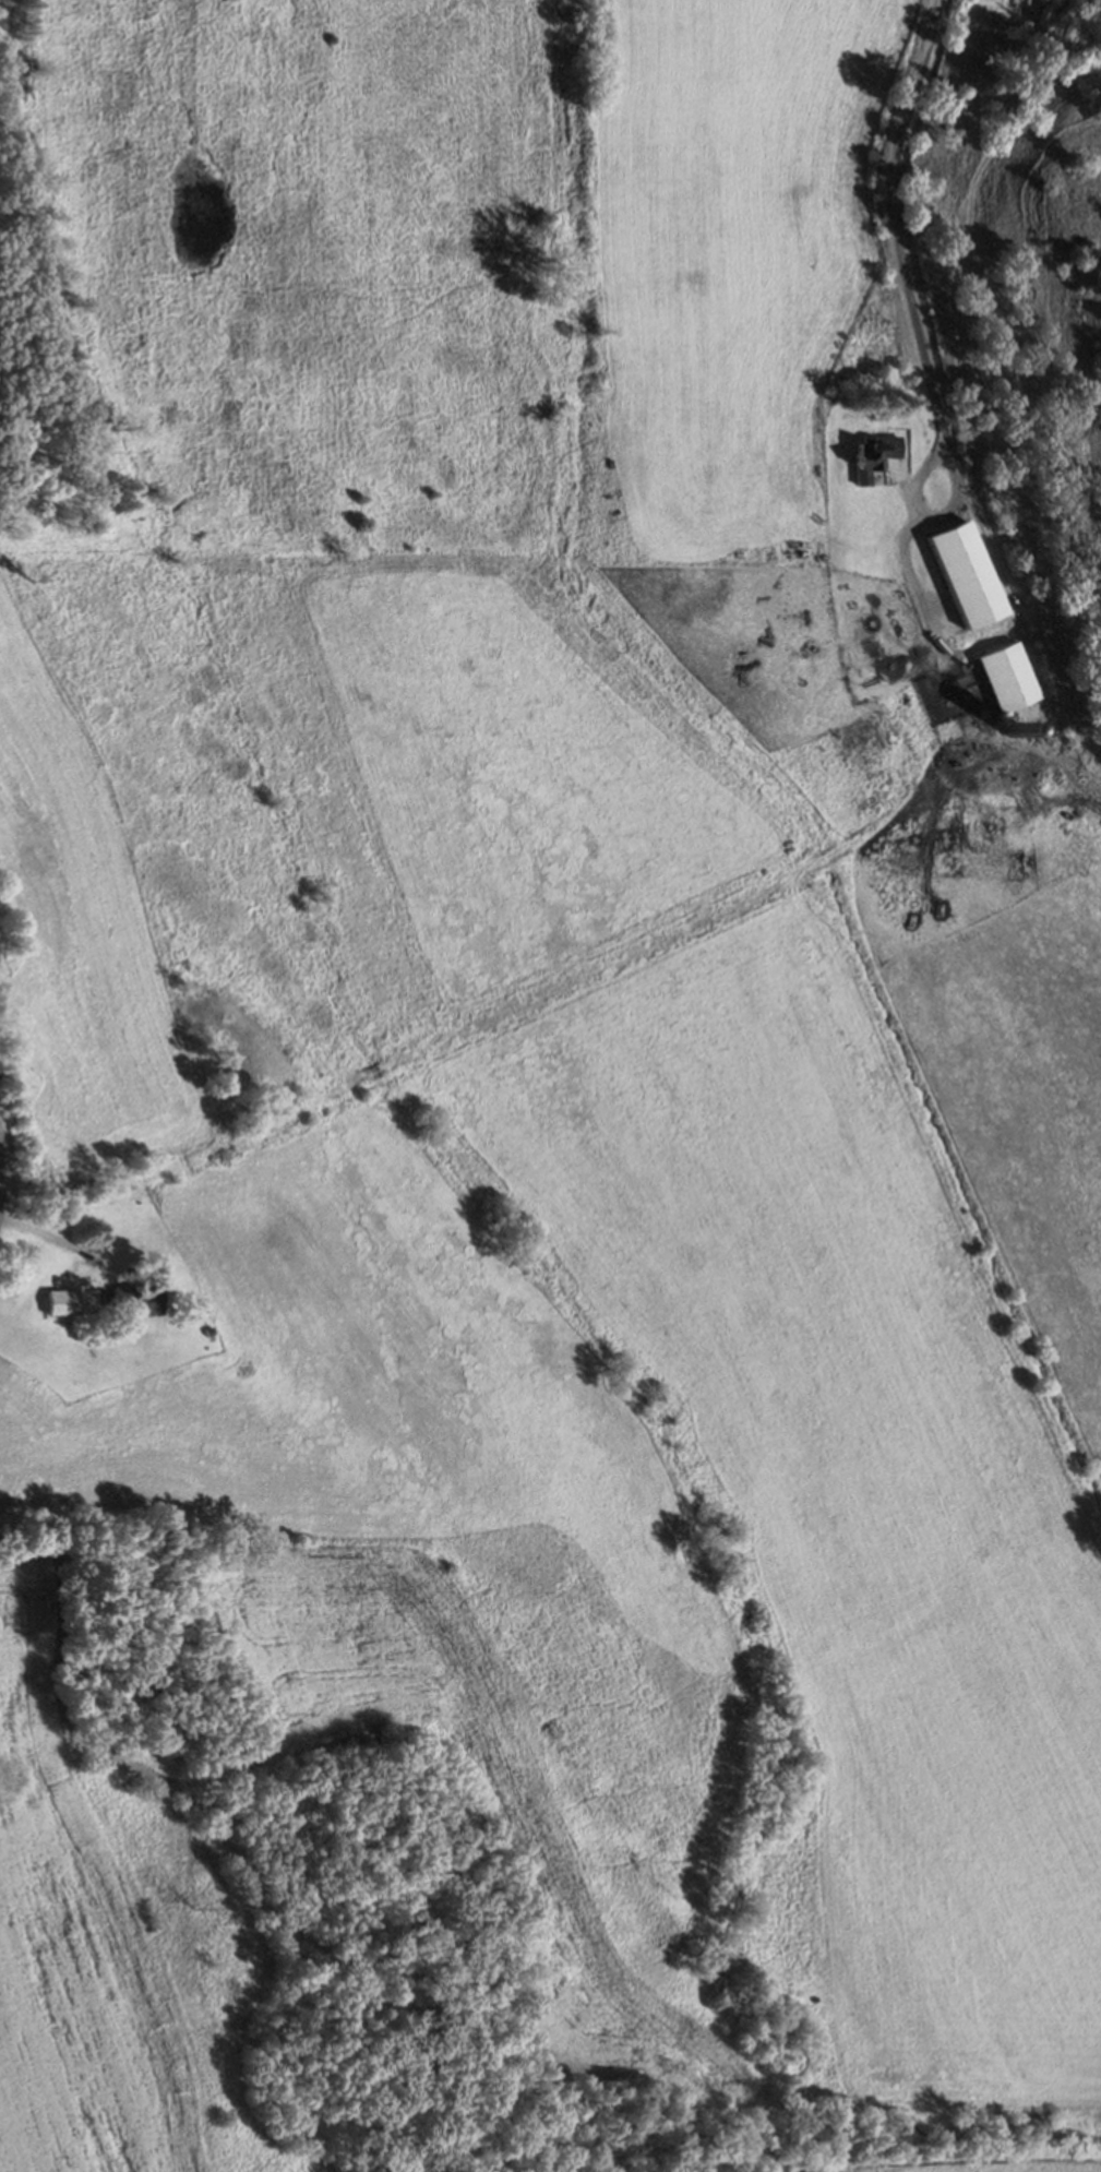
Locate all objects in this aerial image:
road: (893, 231)
building: (873, 457)
building: (962, 575)
building: (1009, 677)
road: (53, 1237)
building: (129, 1297)
building: (57, 1299)

